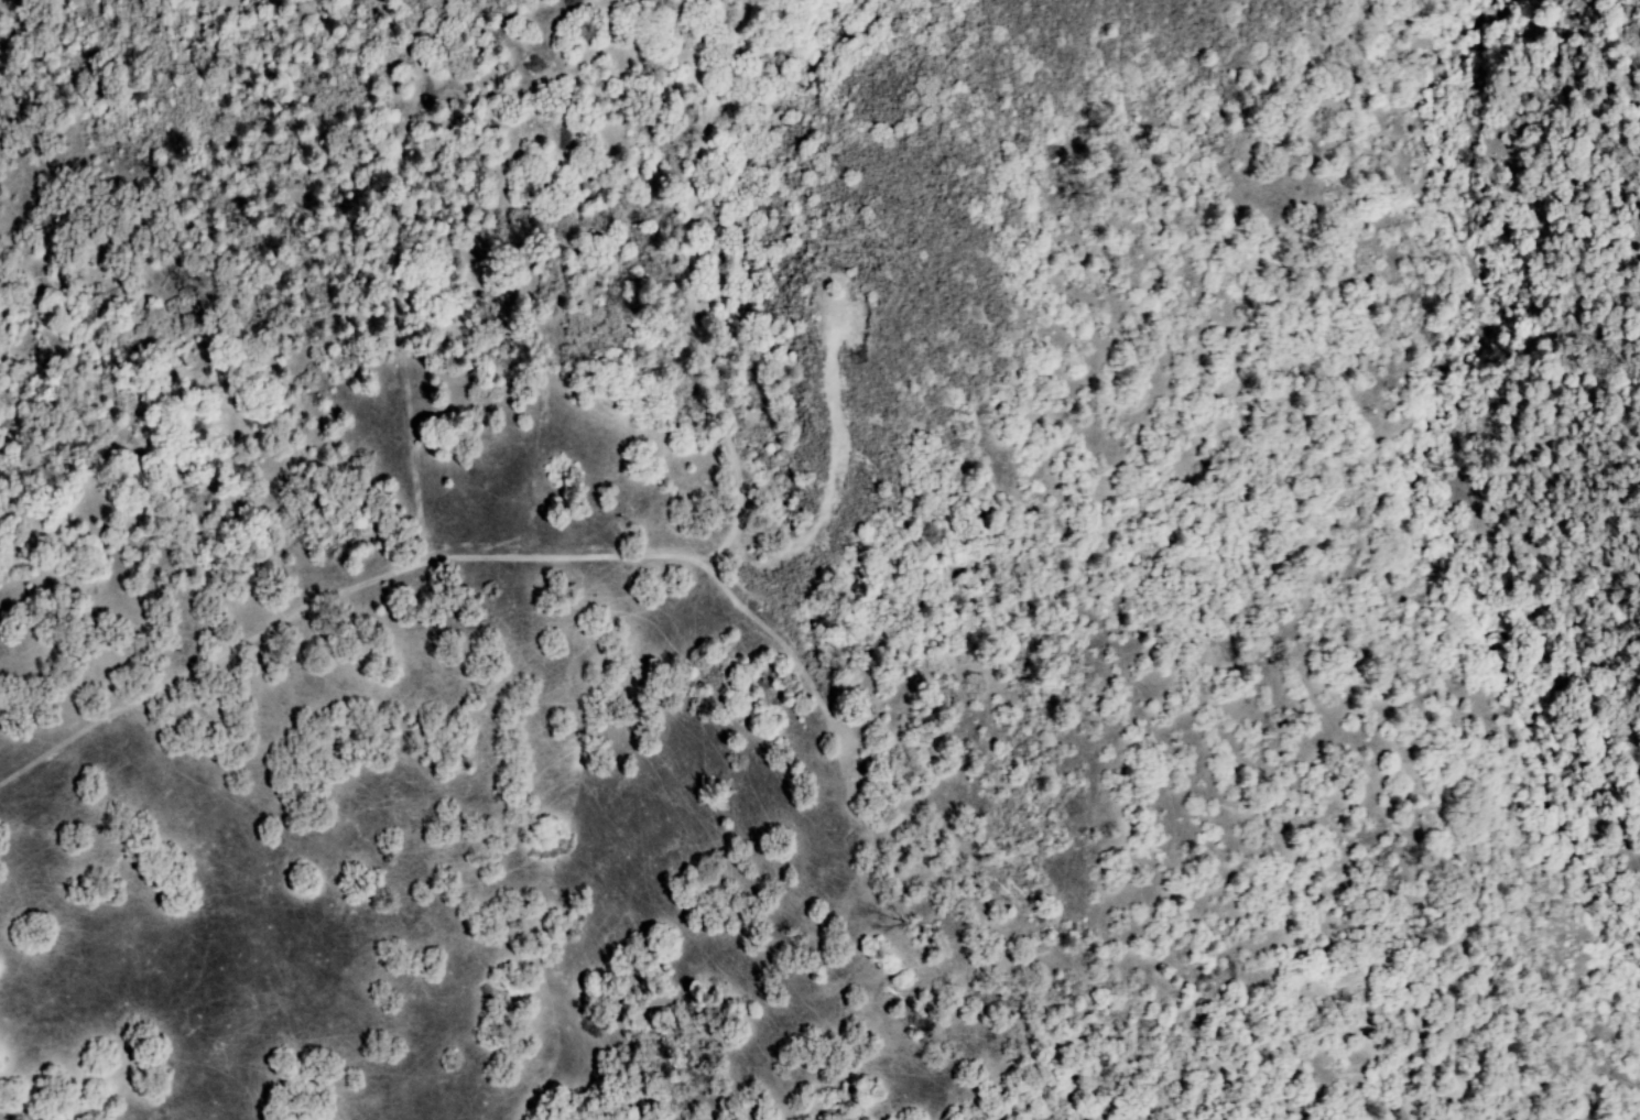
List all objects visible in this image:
road: (399, 273)
road: (616, 556)
road: (784, 638)

